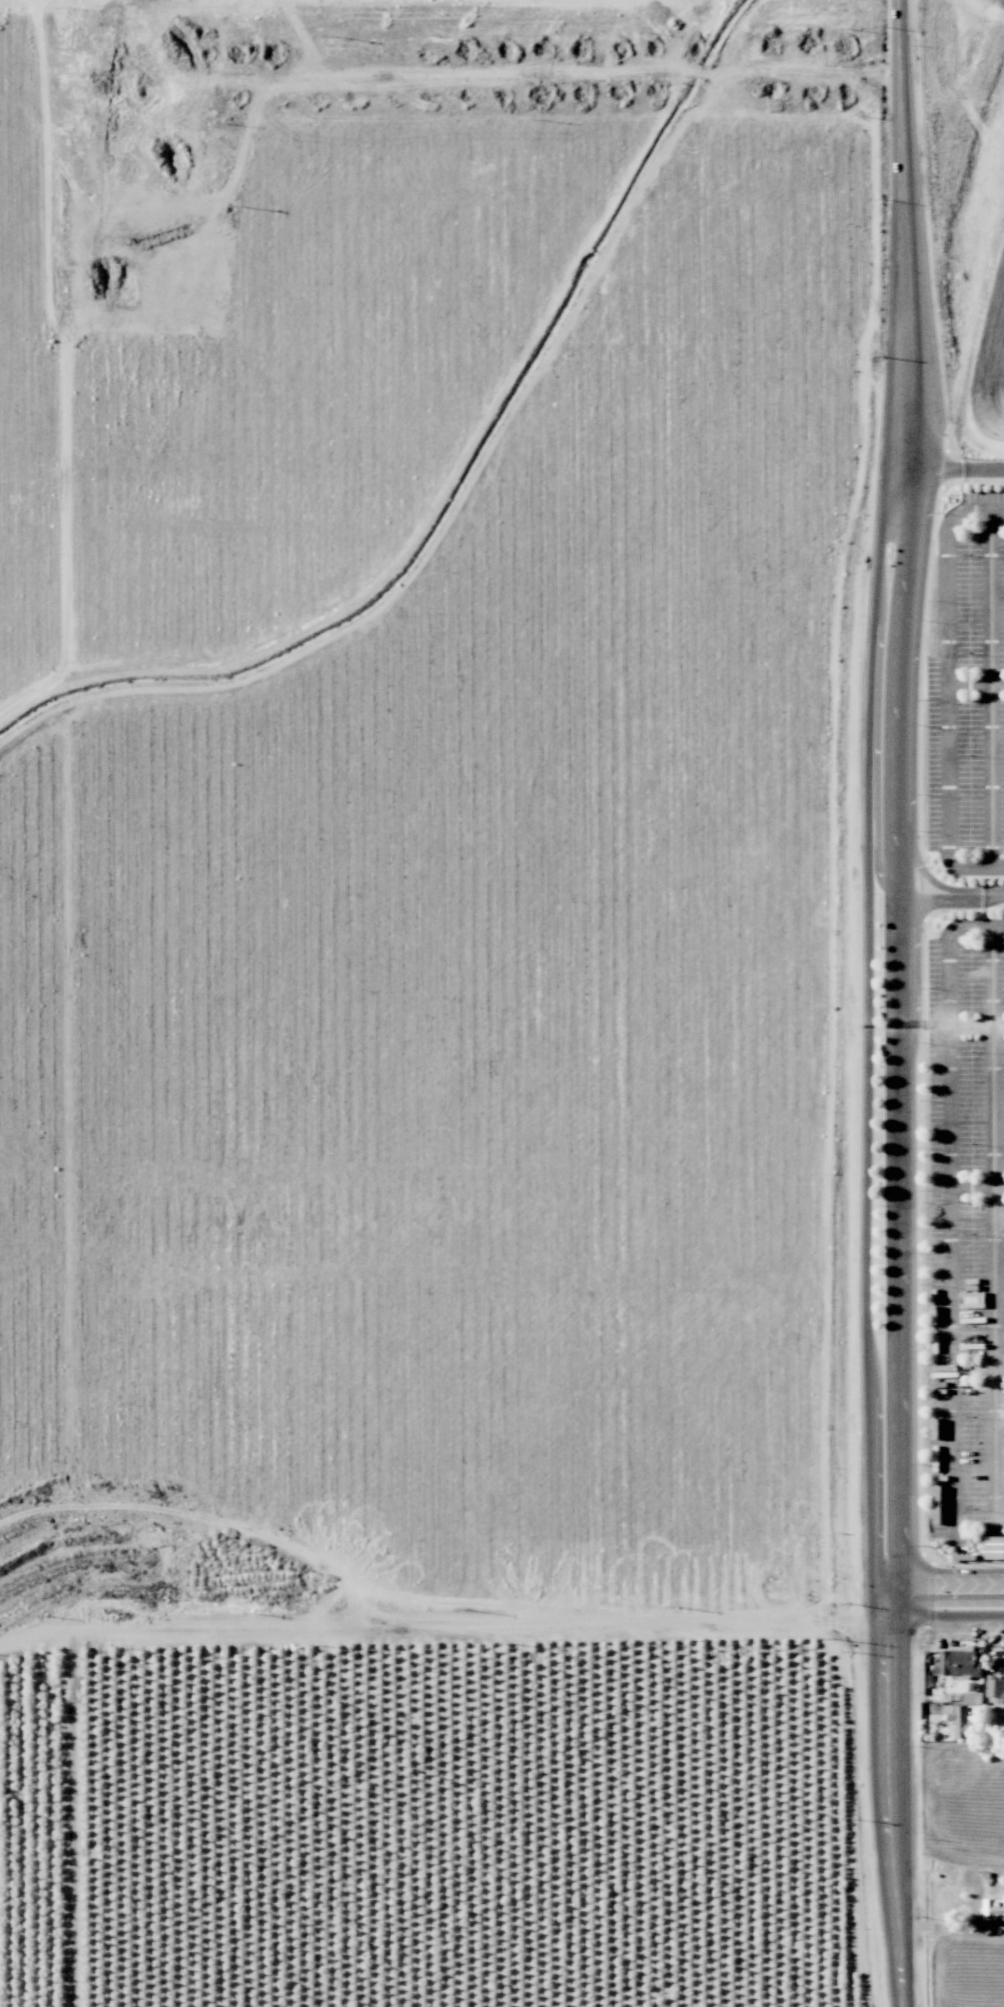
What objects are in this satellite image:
road: (909, 260)
road: (953, 473)
road: (993, 686)
road: (949, 689)
road: (934, 881)
road: (953, 900)
road: (869, 1043)
road: (903, 1044)
road: (950, 1232)
road: (993, 1233)
road: (944, 1587)
road: (945, 1615)
road: (889, 1786)
building: (993, 1907)

